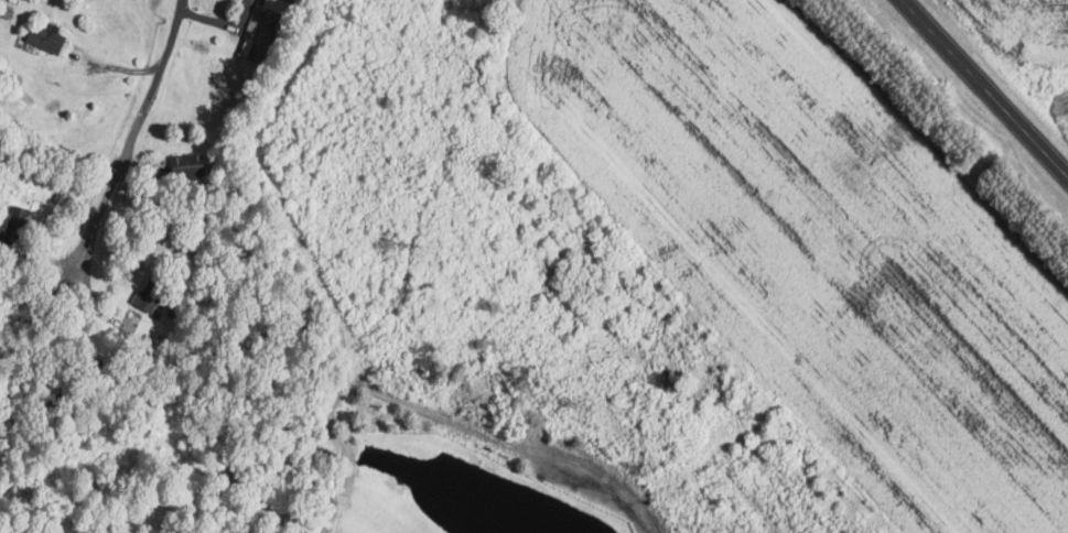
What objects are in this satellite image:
building: (280, 6)
building: (50, 36)
road: (984, 88)
road: (140, 120)
building: (148, 294)
road: (32, 318)

